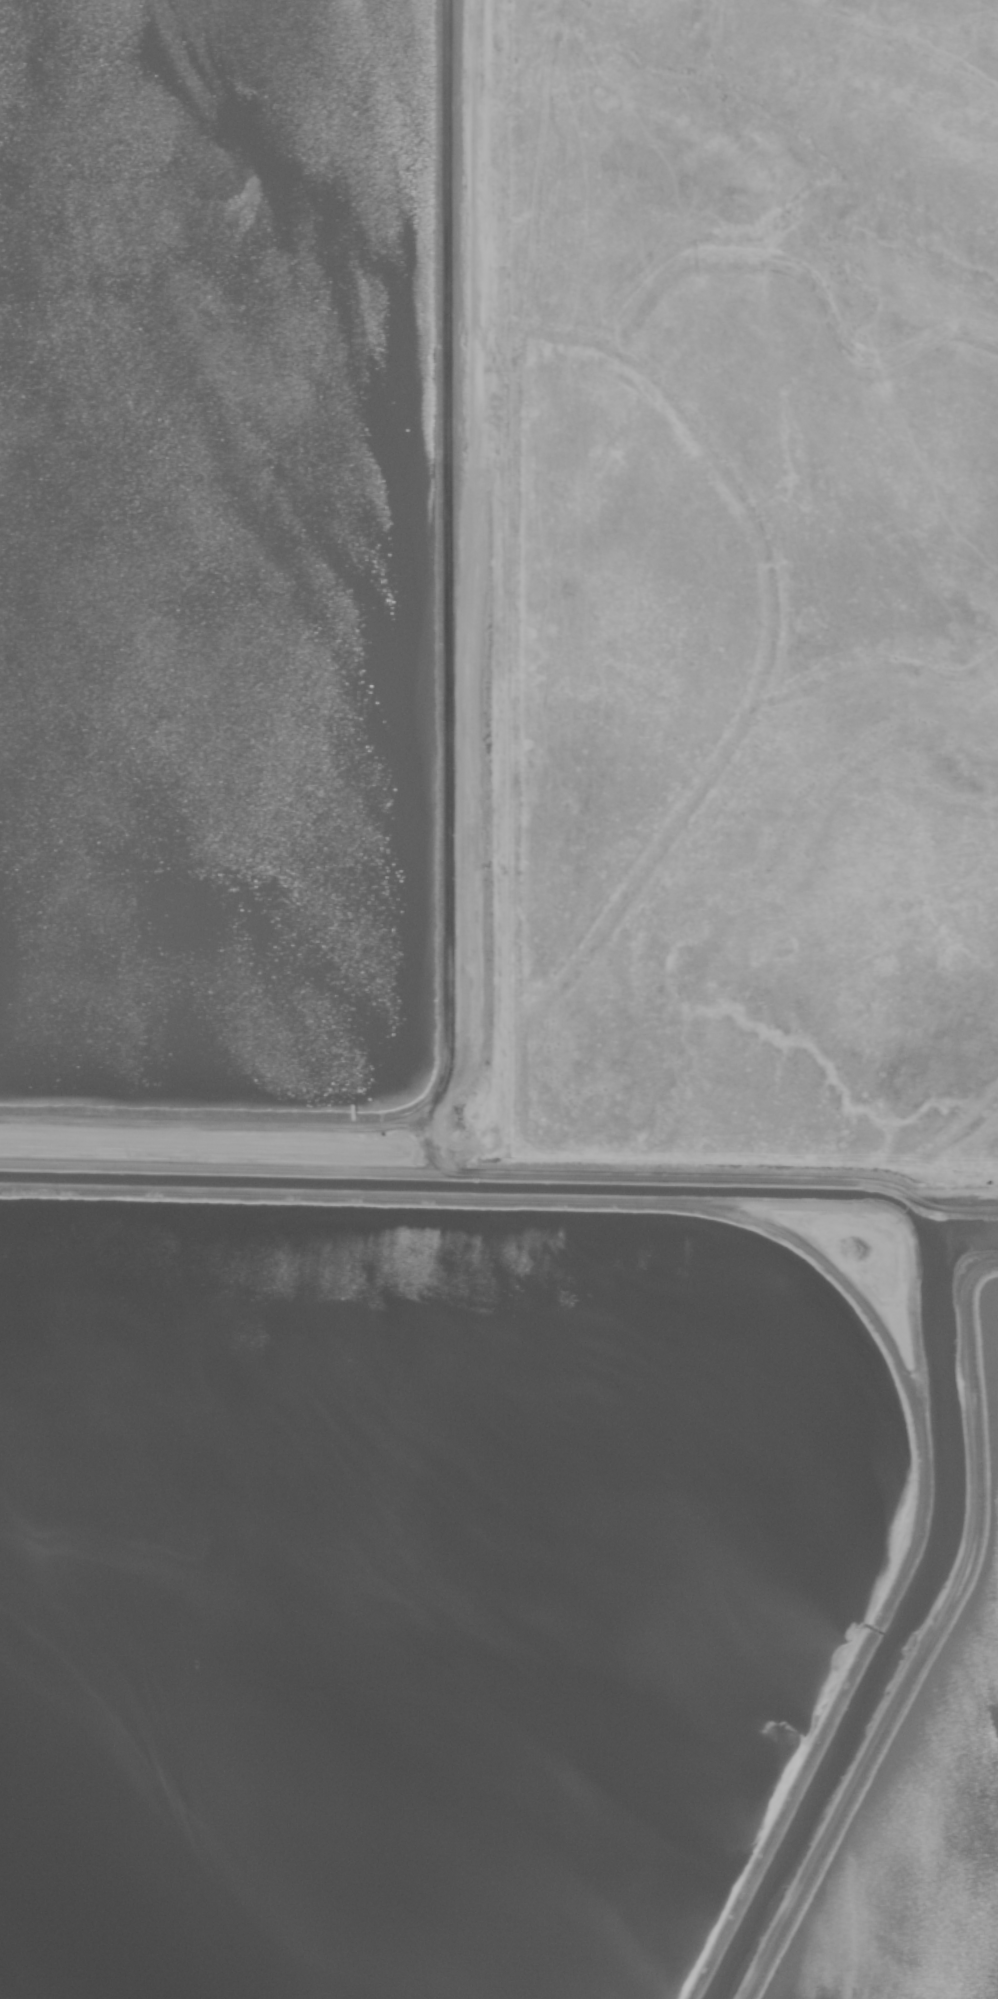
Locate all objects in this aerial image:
road: (461, 793)

